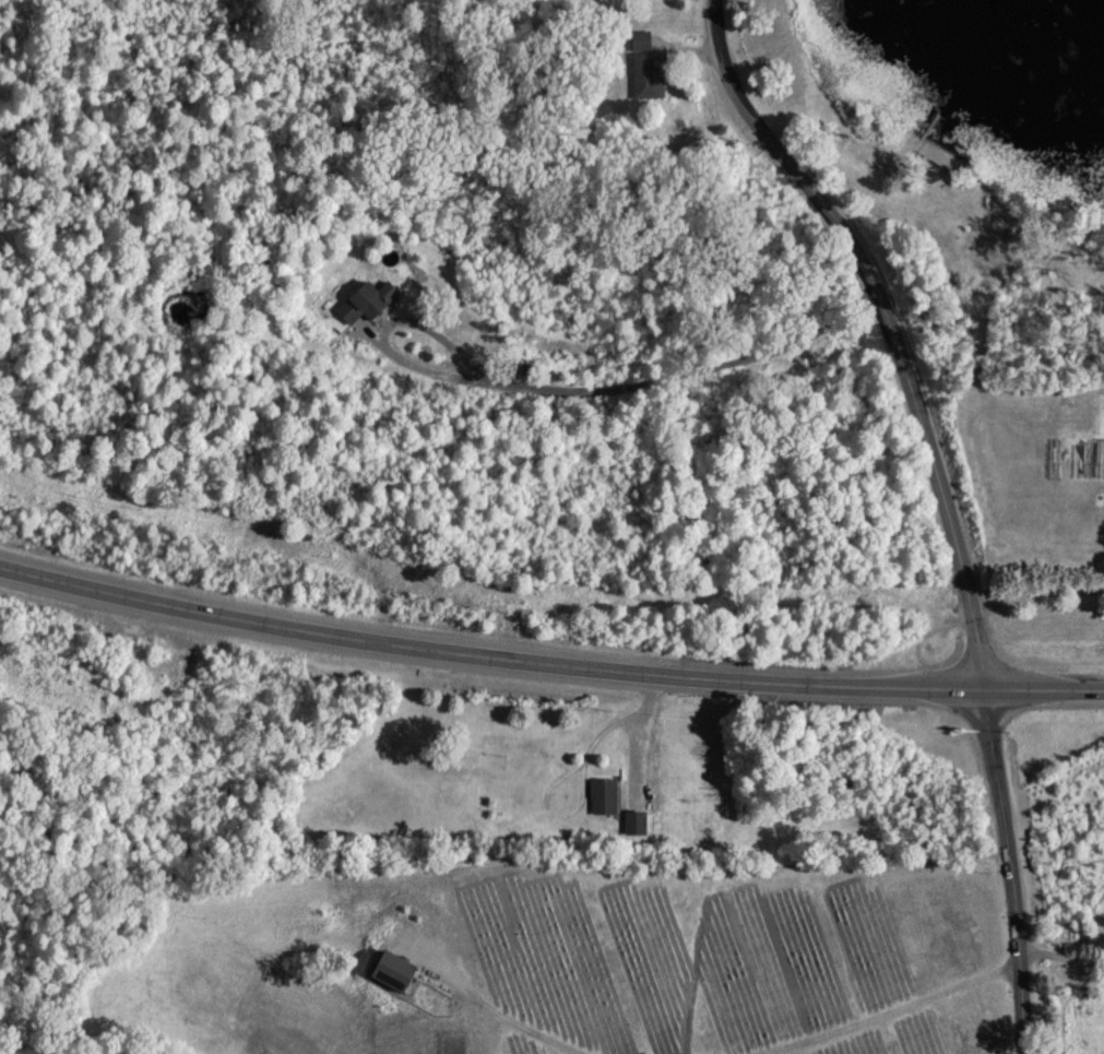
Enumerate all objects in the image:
building: (643, 67)
building: (365, 301)
road: (638, 383)
road: (942, 500)
road: (1035, 593)
road: (547, 661)
road: (640, 735)
building: (602, 796)
building: (633, 824)
road: (1059, 954)
road: (887, 1010)
road: (498, 1011)
building: (452, 1044)

